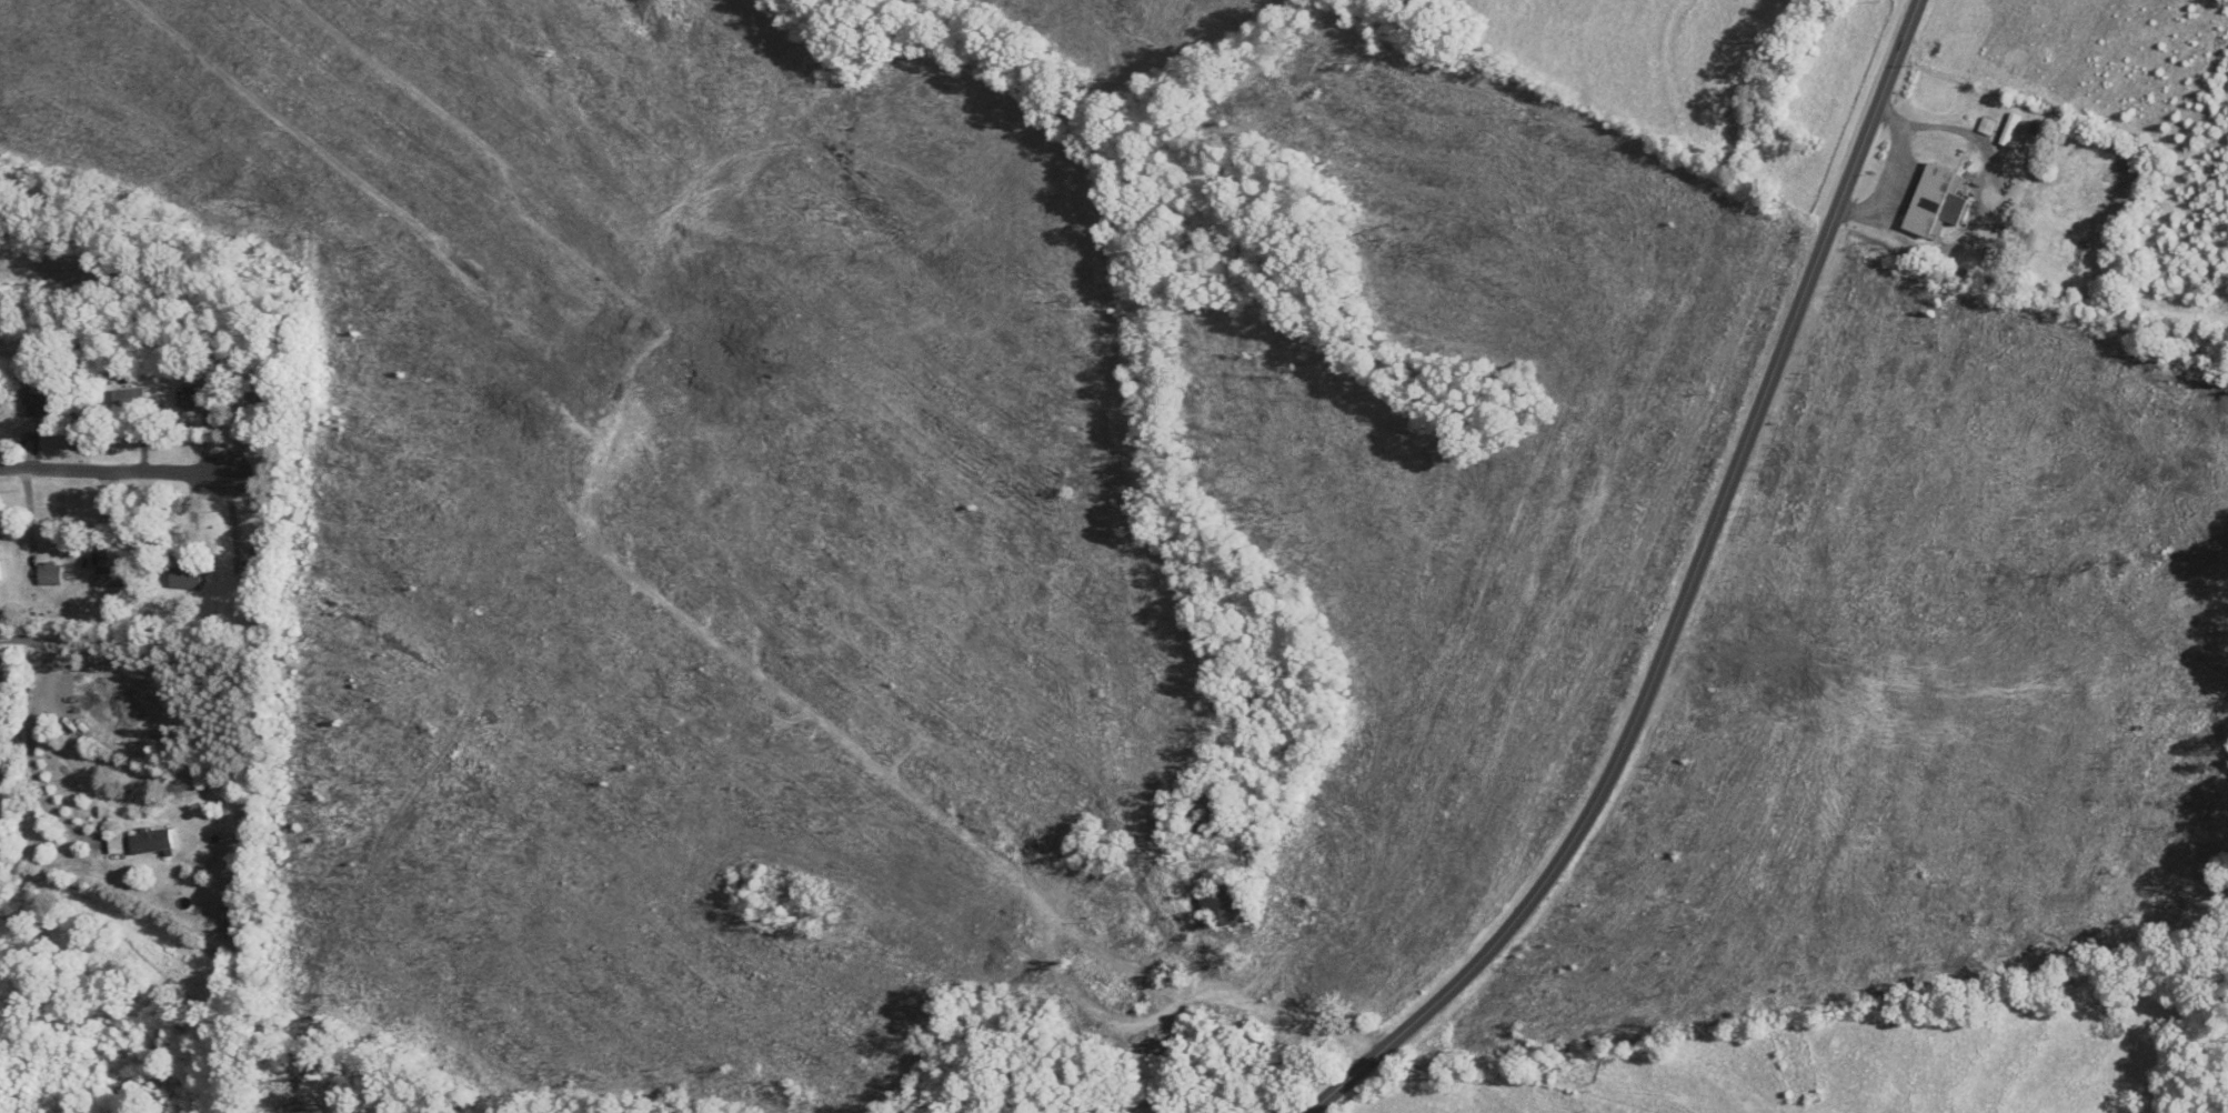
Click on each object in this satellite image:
building: (2010, 130)
building: (1937, 202)
building: (268, 397)
building: (193, 398)
building: (129, 400)
building: (39, 404)
road: (147, 473)
building: (253, 571)
building: (51, 573)
building: (112, 575)
building: (0, 578)
building: (187, 578)
road: (1686, 600)
road: (20, 804)
road: (49, 805)
building: (1206, 823)
building: (152, 841)
building: (117, 846)
building: (1225, 904)
building: (234, 925)

